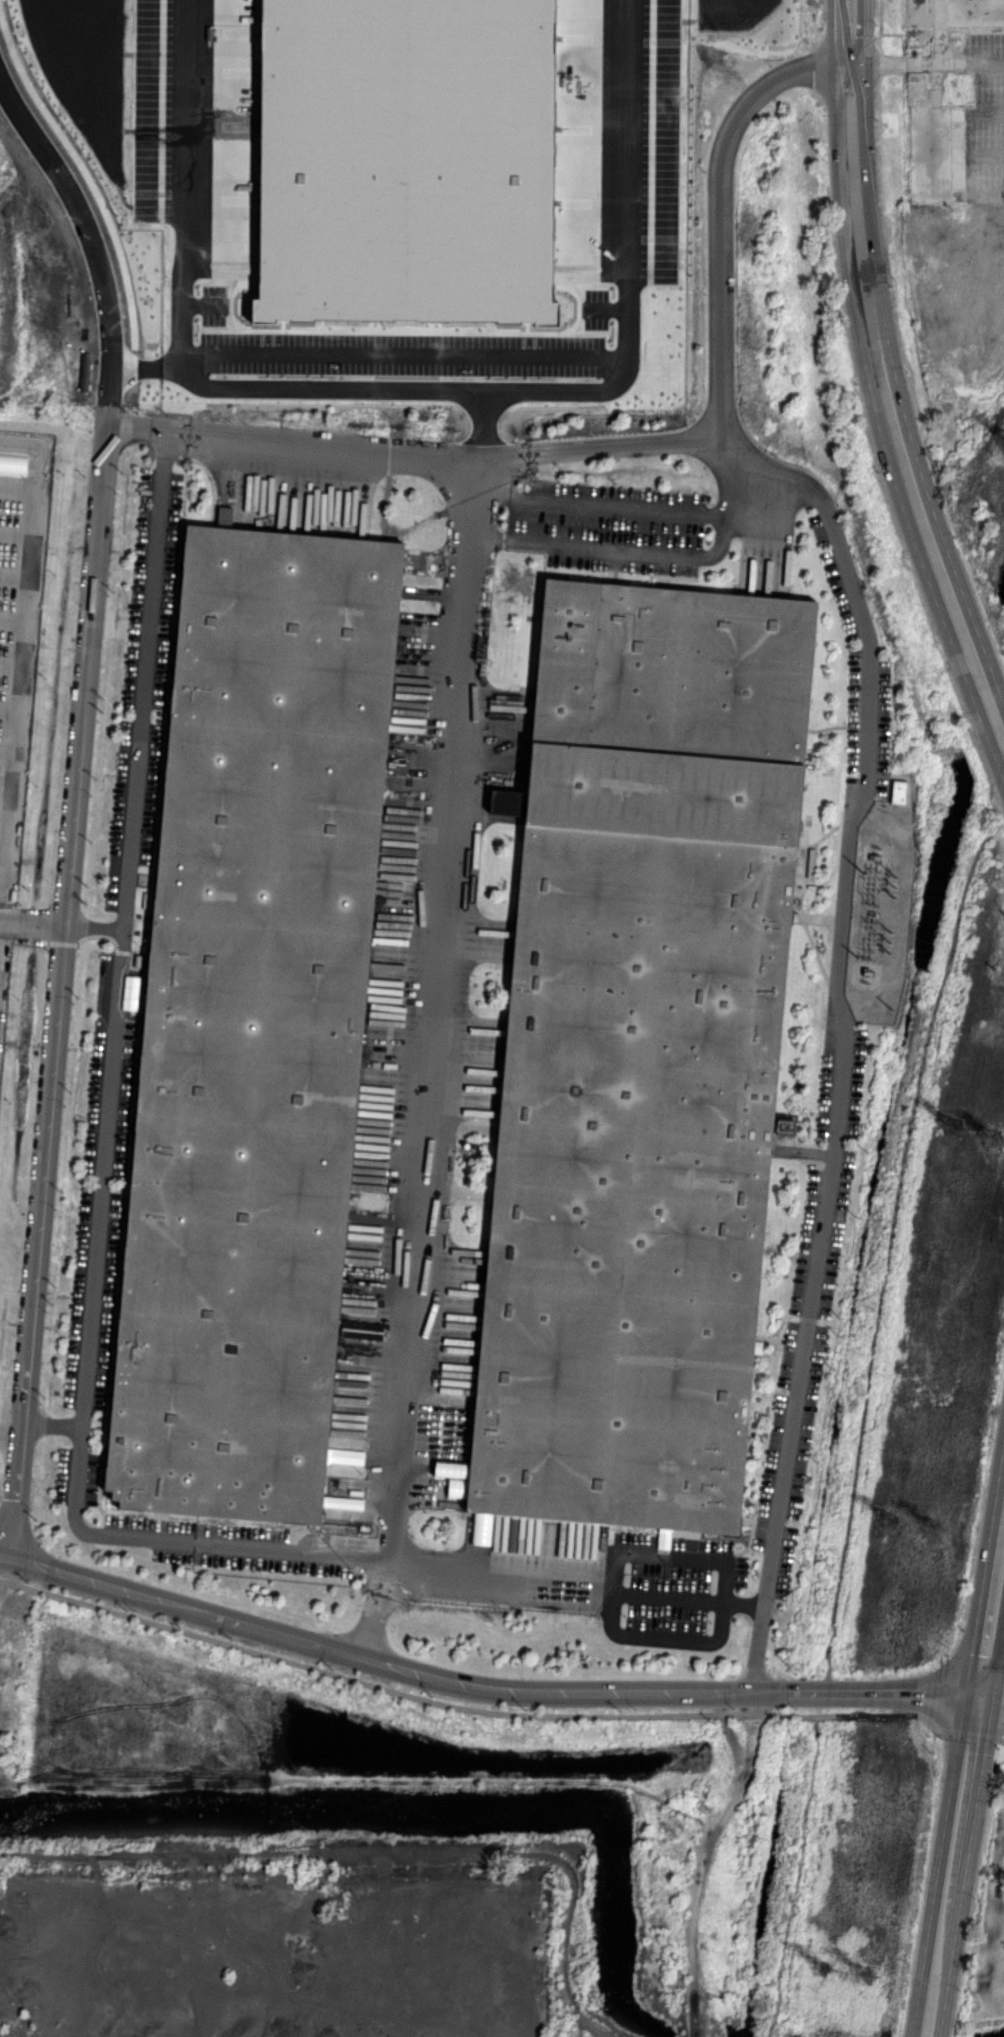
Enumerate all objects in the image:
road: (926, 67)
parking lot: (151, 110)
parking lot: (659, 142)
building: (411, 164)
road: (184, 215)
road: (91, 236)
road: (719, 249)
road: (629, 290)
parking lot: (212, 303)
parking lot: (595, 309)
parking lot: (399, 354)
road: (881, 378)
road: (324, 387)
road: (14, 487)
building: (223, 516)
parking lot: (608, 526)
road: (724, 531)
road: (13, 533)
parking lot: (841, 572)
road: (11, 577)
road: (9, 619)
road: (17, 628)
parking lot: (18, 647)
road: (7, 663)
parking lot: (144, 681)
road: (84, 682)
road: (5, 706)
parking lot: (866, 727)
road: (3, 752)
building: (898, 792)
road: (2, 795)
building: (506, 802)
power substation: (882, 916)
power tower: (1003, 918)
road: (63, 926)
road: (93, 929)
power tower: (991, 971)
road: (836, 991)
building: (252, 1021)
building: (643, 1054)
road: (429, 1058)
building: (784, 1125)
power tower: (963, 1125)
road: (105, 1134)
power tower: (999, 1144)
parking lot: (101, 1179)
road: (897, 1230)
parking lot: (810, 1304)
road: (51, 1426)
parking lot: (75, 1475)
power tower: (936, 1526)
power tower: (899, 1527)
parking lot: (236, 1545)
road: (500, 1583)
parking lot: (670, 1591)
road: (668, 1597)
road: (743, 1603)
road: (990, 1609)
road: (720, 1631)
road: (756, 1649)
road: (479, 1687)
road: (821, 1694)
traffic signals: (976, 1695)
road: (990, 1699)
road: (463, 1708)
road: (967, 1734)
road: (1000, 1740)
road: (961, 1797)
road: (793, 1872)
park: (986, 1928)
power tower: (821, 1967)
road: (935, 1968)
power tower: (867, 1970)

